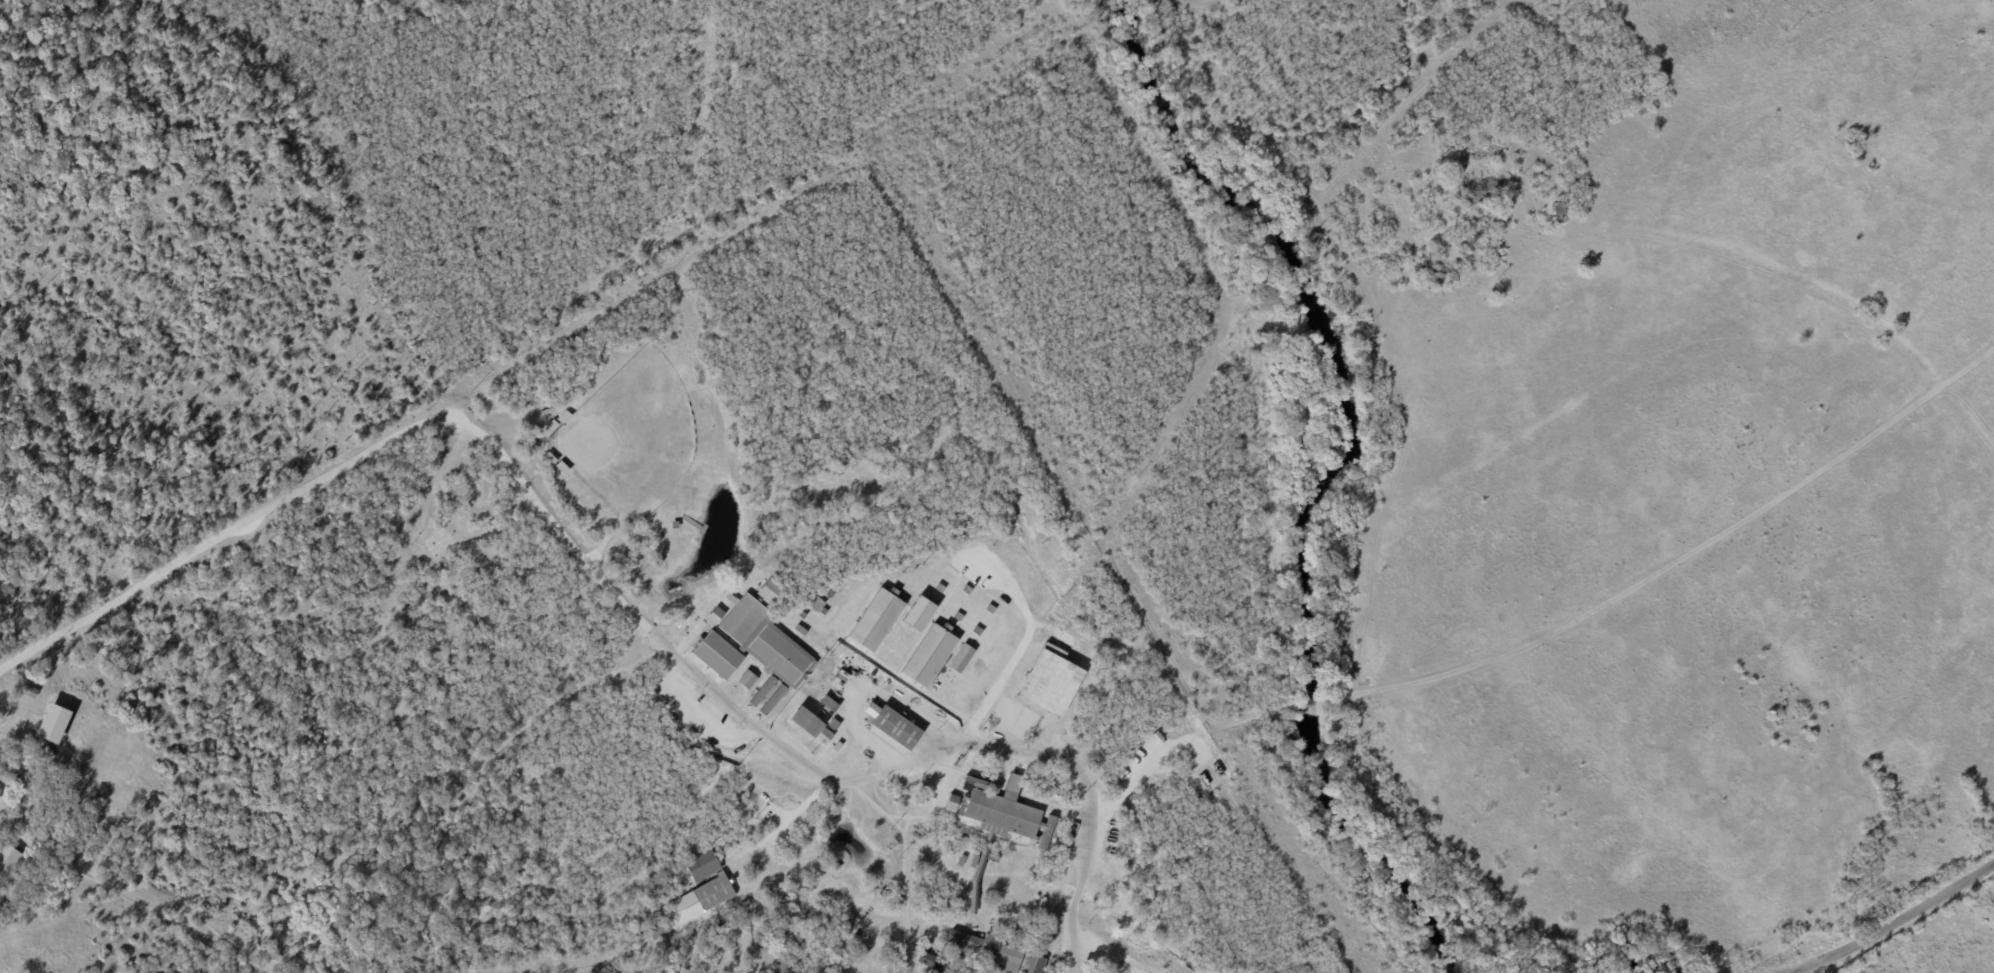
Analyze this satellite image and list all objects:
road: (1787, 281)
building: (562, 416)
building: (549, 426)
road: (556, 543)
building: (771, 592)
building: (916, 613)
building: (715, 615)
building: (742, 618)
building: (874, 620)
building: (751, 636)
road: (1014, 650)
building: (1052, 650)
building: (717, 655)
building: (927, 655)
building: (960, 658)
building: (777, 666)
building: (746, 679)
building: (1048, 682)
building: (50, 723)
building: (812, 725)
building: (894, 727)
building: (0, 789)
building: (950, 802)
building: (1001, 809)
road: (781, 821)
building: (9, 861)
building: (701, 887)
road: (1070, 898)
building: (1, 900)
road: (1894, 925)
building: (658, 928)
building: (988, 950)
building: (929, 960)
building: (1032, 964)
building: (949, 968)

